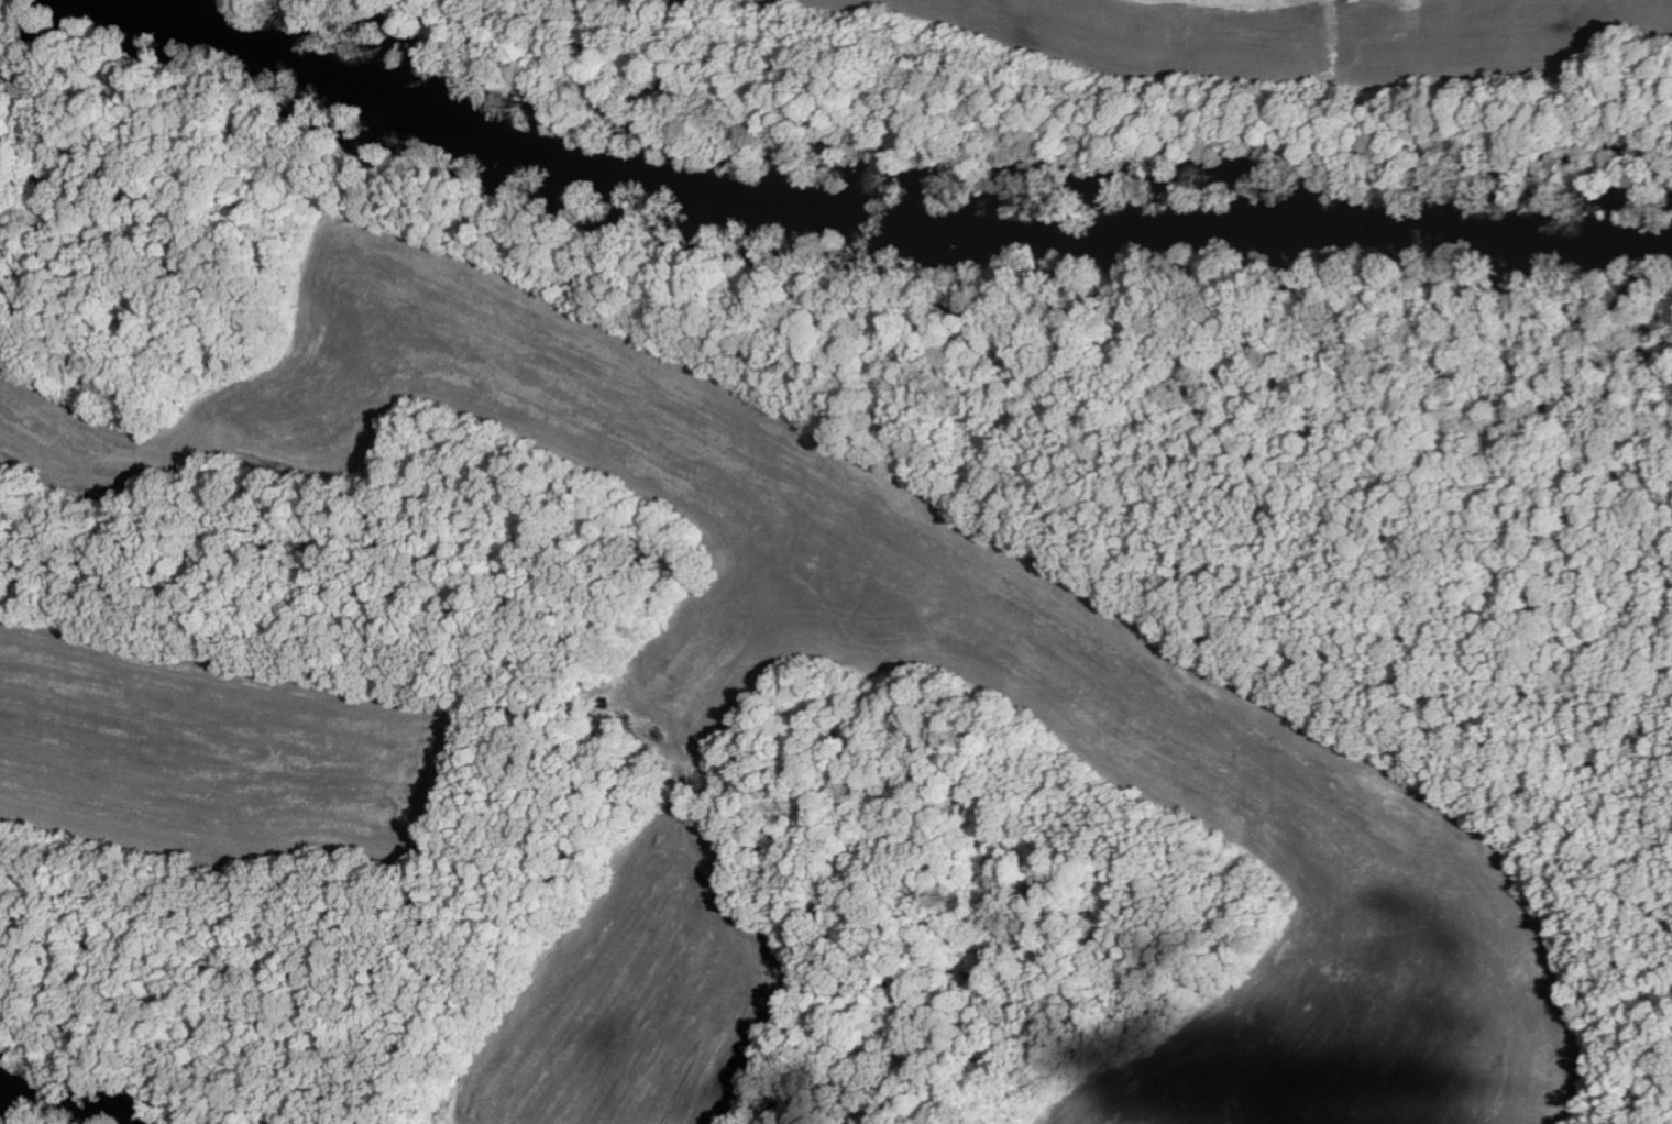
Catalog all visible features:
river: (886, 213)
river: (75, 1099)

